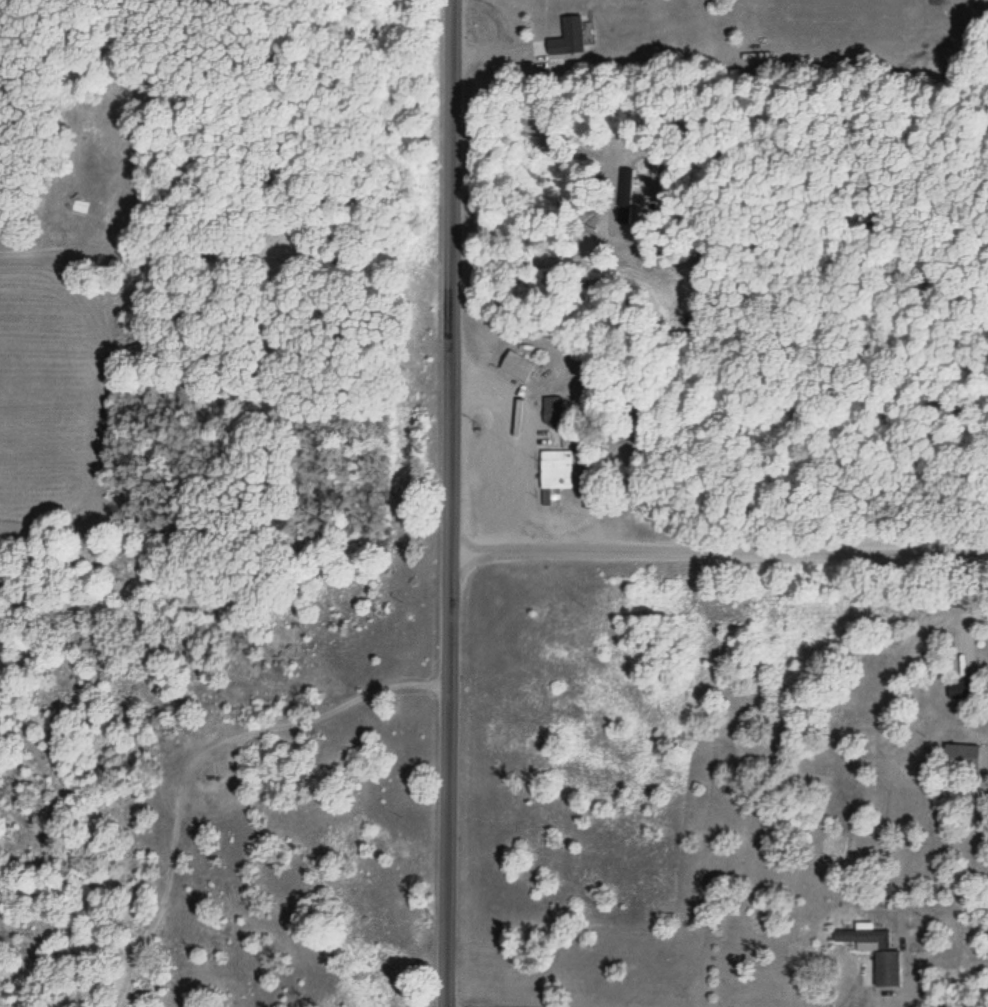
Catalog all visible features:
building: (572, 36)
road: (338, 258)
building: (517, 366)
building: (553, 411)
building: (553, 475)
road: (438, 503)
road: (713, 537)
building: (964, 689)
road: (166, 749)
building: (963, 754)
building: (878, 952)

